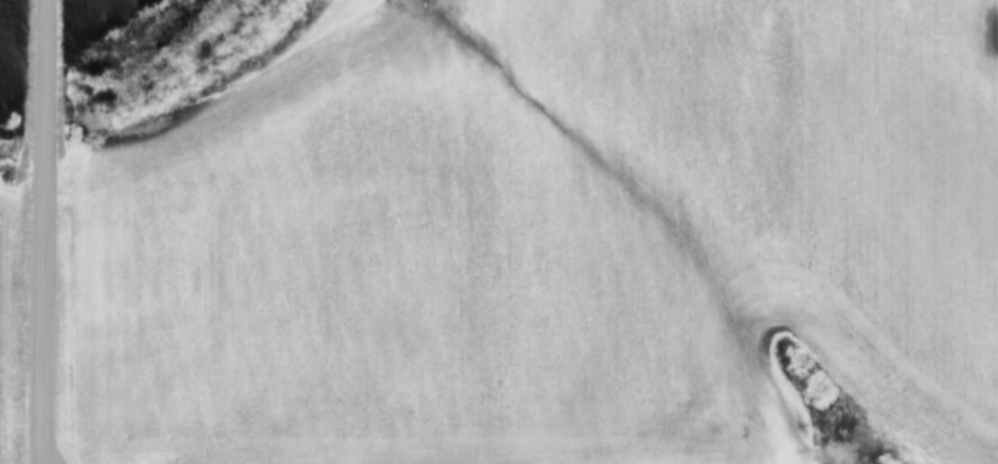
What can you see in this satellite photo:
road: (42, 232)

